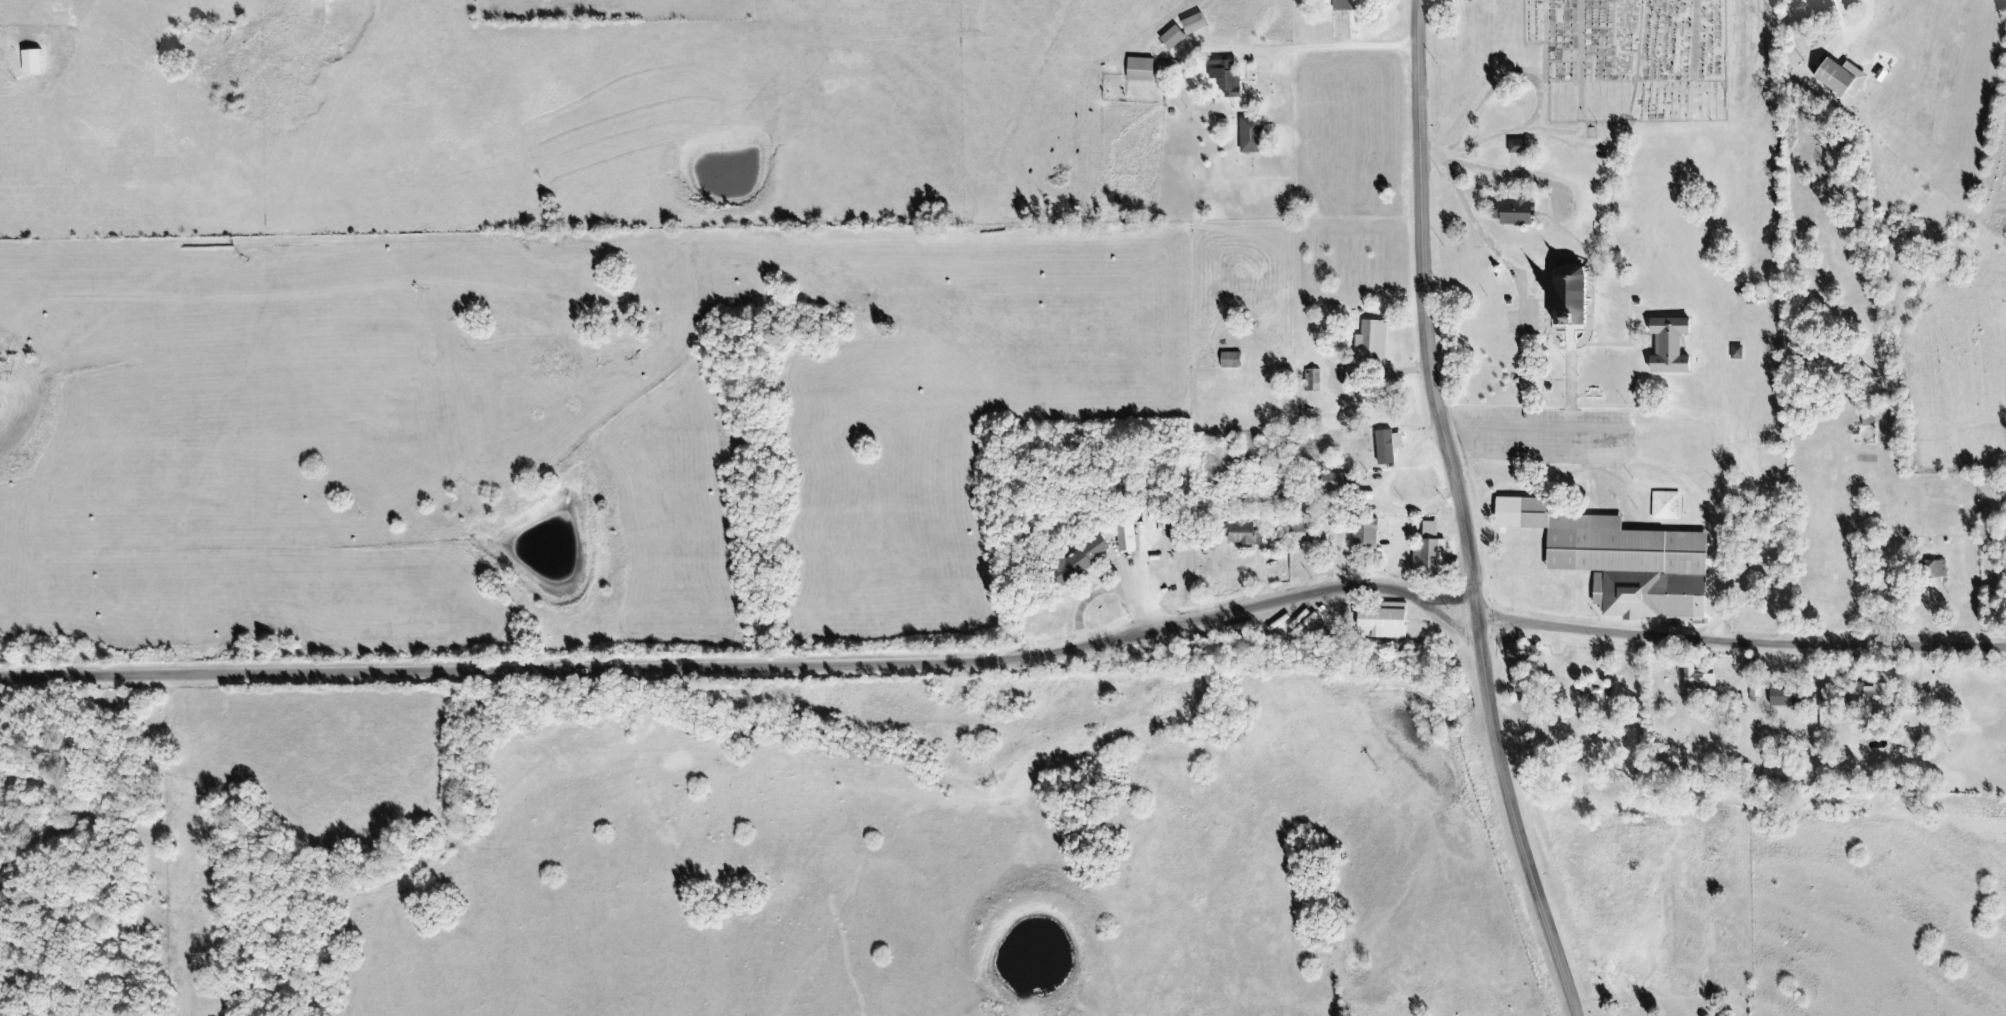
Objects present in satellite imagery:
building: (1342, 4)
road: (1836, 15)
building: (1193, 22)
building: (1172, 35)
road: (1542, 43)
road: (1229, 47)
road: (1271, 54)
park: (1630, 58)
building: (38, 62)
road: (1580, 65)
building: (1140, 68)
building: (1835, 69)
building: (1225, 75)
road: (1657, 80)
road: (1481, 99)
road: (1553, 130)
road: (1504, 132)
building: (1251, 134)
building: (1517, 146)
road: (1440, 157)
road: (1516, 175)
road: (1495, 183)
road: (1611, 189)
building: (1512, 211)
road: (1488, 242)
building: (1614, 256)
building: (1496, 267)
storage tank: (1496, 267)
building: (1495, 275)
building: (1570, 294)
road: (1422, 300)
building: (1507, 300)
road: (1518, 300)
building: (1636, 302)
parking lot: (1532, 306)
road: (1587, 314)
road: (1630, 321)
road: (1569, 326)
road: (1537, 327)
road: (1551, 328)
road: (1584, 329)
building: (1366, 334)
road: (1569, 342)
road: (1594, 343)
building: (1668, 344)
building: (1735, 351)
building: (1229, 359)
road: (1541, 368)
road: (1336, 369)
road: (1569, 377)
building: (1310, 379)
building: (1515, 379)
road: (1530, 379)
building: (1548, 387)
road: (1584, 395)
building: (1864, 411)
building: (1382, 445)
parking lot: (1552, 447)
building: (1329, 478)
road: (1383, 486)
road: (1773, 494)
building: (1665, 505)
road: (1714, 527)
building: (1240, 529)
building: (1298, 530)
building: (1366, 532)
building: (1126, 533)
building: (1603, 540)
road: (1144, 543)
building: (1429, 556)
building: (1079, 558)
road: (1784, 563)
building: (1932, 568)
road: (1259, 577)
building: (1652, 592)
road: (1141, 594)
road: (1089, 595)
road: (1433, 609)
road: (1474, 609)
road: (1936, 614)
building: (1382, 618)
road: (1478, 636)
road: (1740, 641)
building: (1522, 651)
road: (1735, 662)
road: (717, 667)
building: (1698, 672)
building: (1754, 684)
building: (1861, 690)
building: (1783, 692)
building: (1905, 711)
road: (1517, 835)

